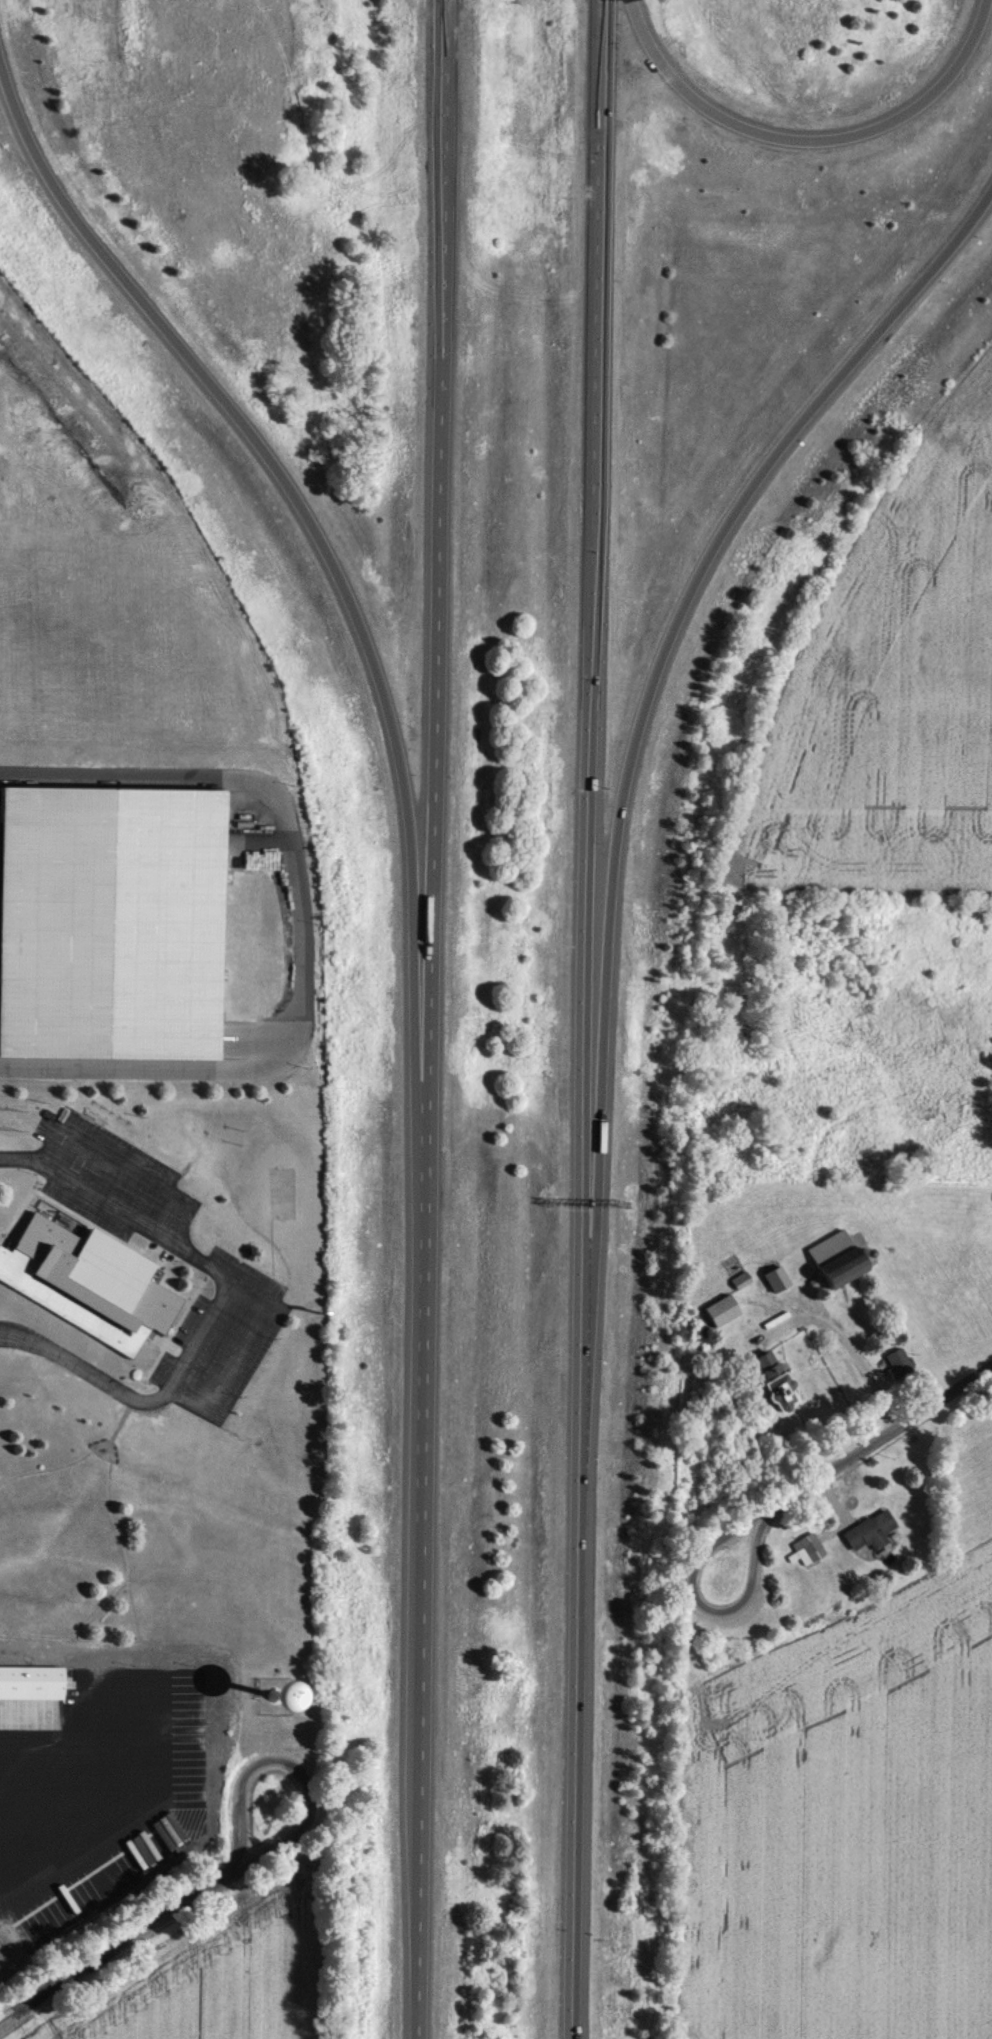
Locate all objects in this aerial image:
road: (810, 136)
road: (330, 554)
road: (640, 729)
building: (111, 924)
road: (305, 928)
road: (436, 1019)
road: (588, 1019)
road: (122, 1162)
building: (836, 1256)
road: (206, 1262)
building: (775, 1276)
building: (740, 1278)
building: (87, 1281)
building: (721, 1308)
road: (848, 1345)
building: (898, 1365)
building: (773, 1379)
road: (140, 1399)
road: (122, 1418)
road: (876, 1441)
road: (100, 1453)
road: (57, 1465)
building: (869, 1530)
building: (806, 1547)
road: (703, 1611)
road: (70, 1640)
road: (57, 1646)
building: (270, 1691)
water tower: (274, 1694)
road: (155, 1716)
road: (251, 1858)
road: (8, 2016)

